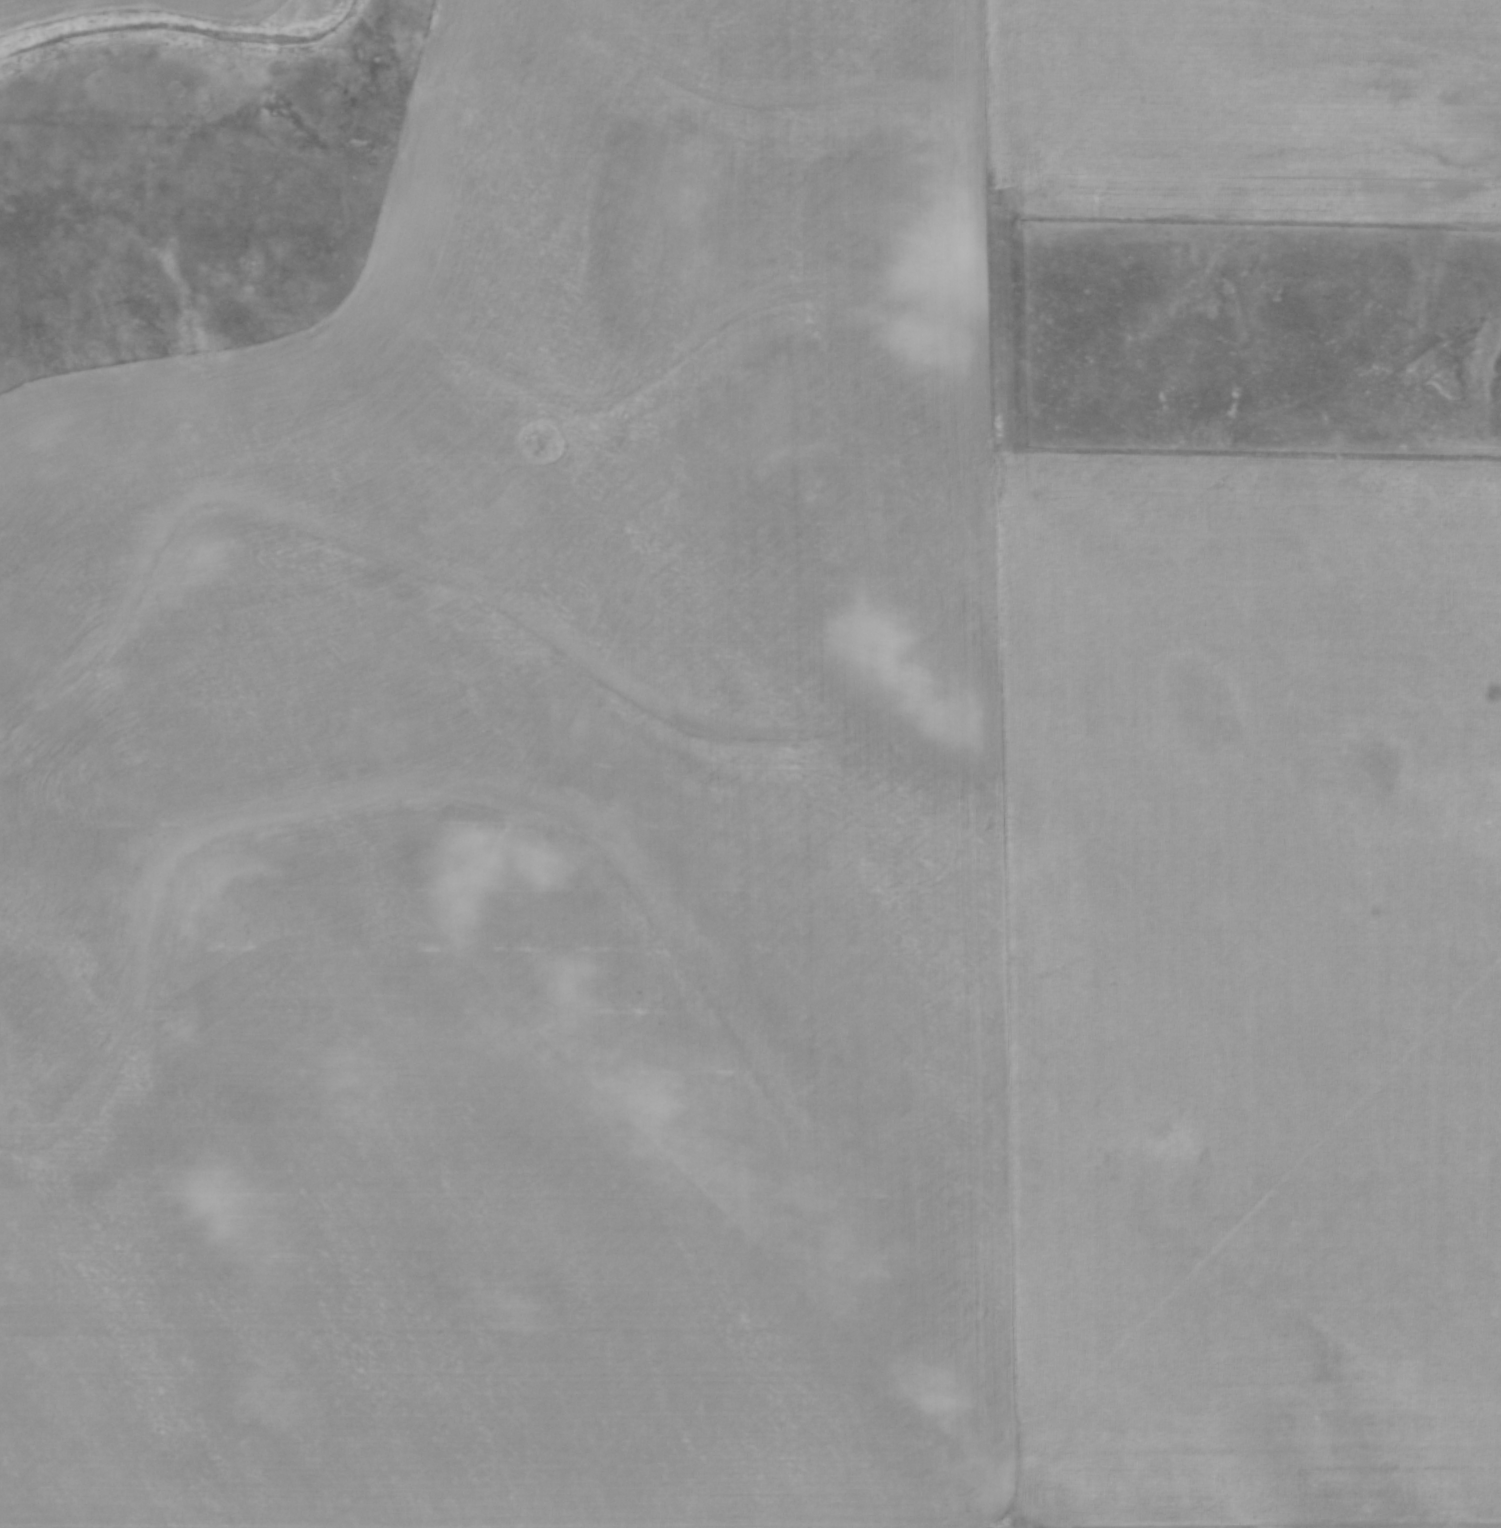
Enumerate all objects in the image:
crop: (212, 5)
crop: (33, 8)
crop: (758, 831)

